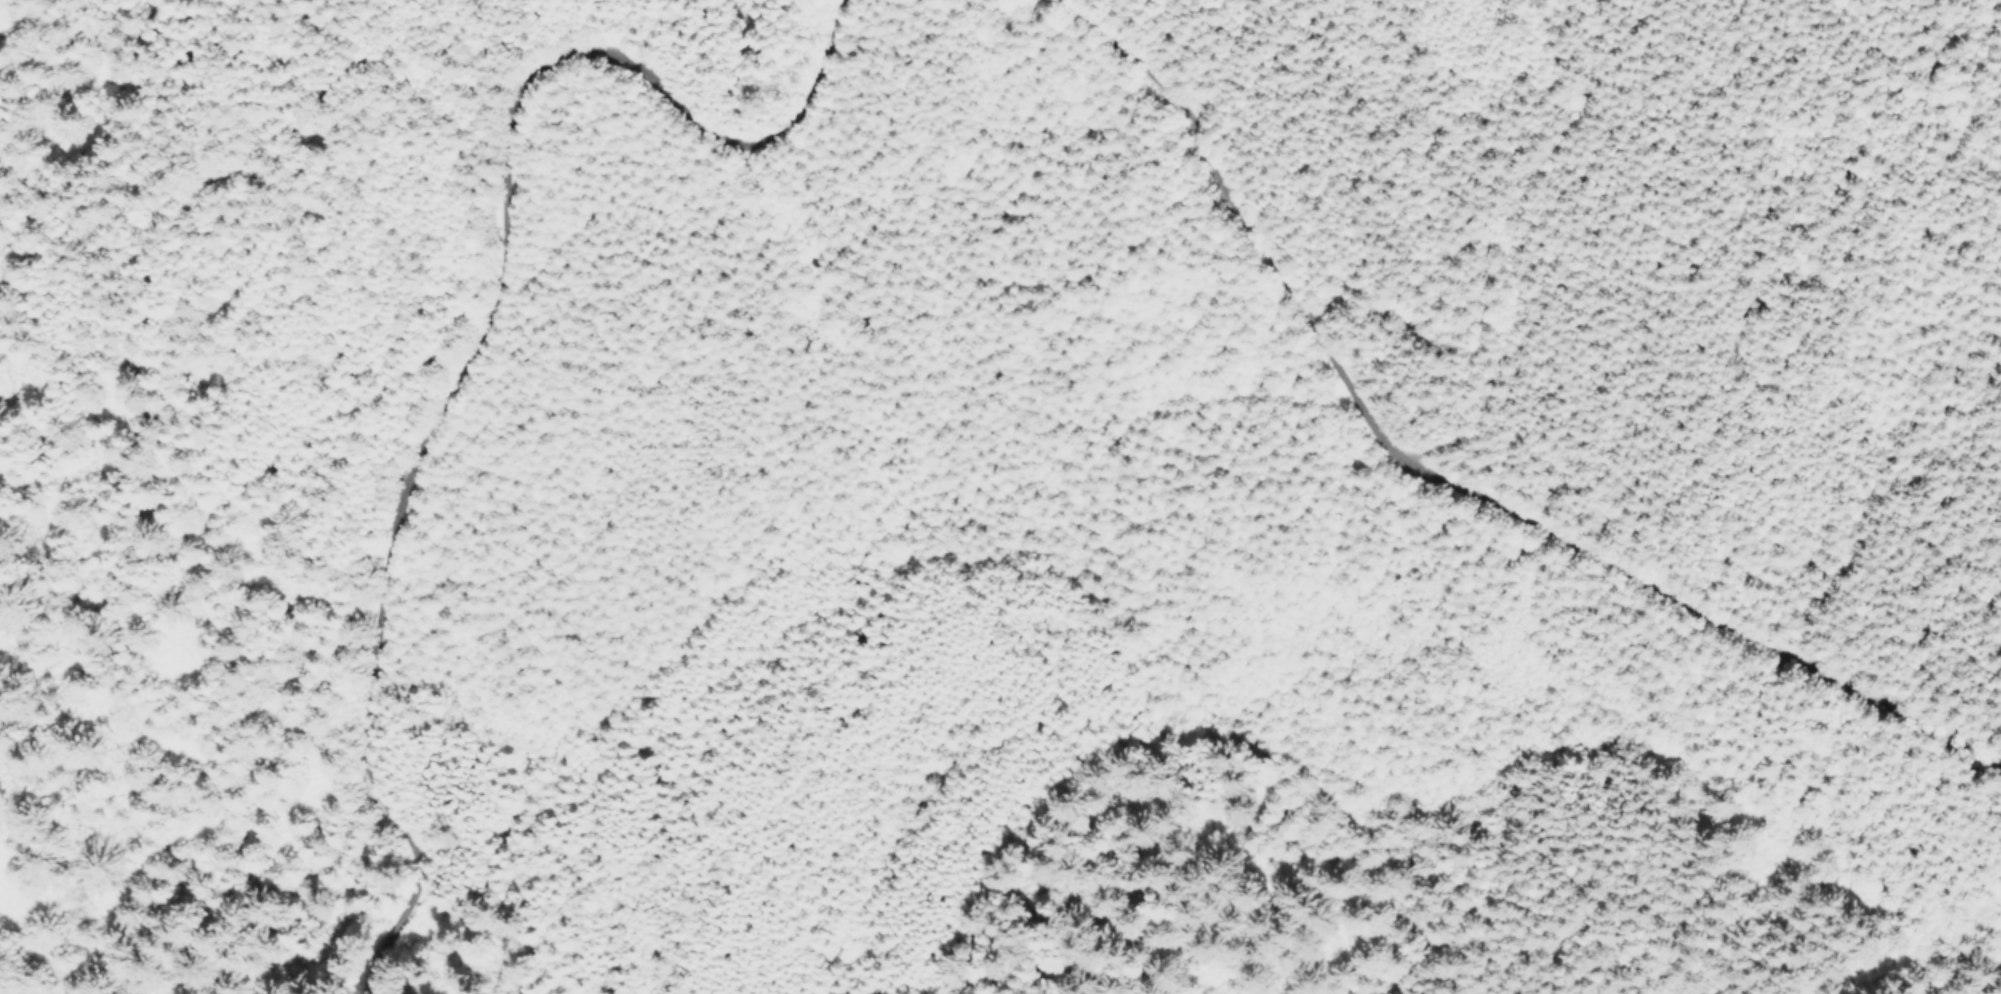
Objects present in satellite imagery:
road: (1470, 218)
road: (470, 330)
road: (1431, 488)

